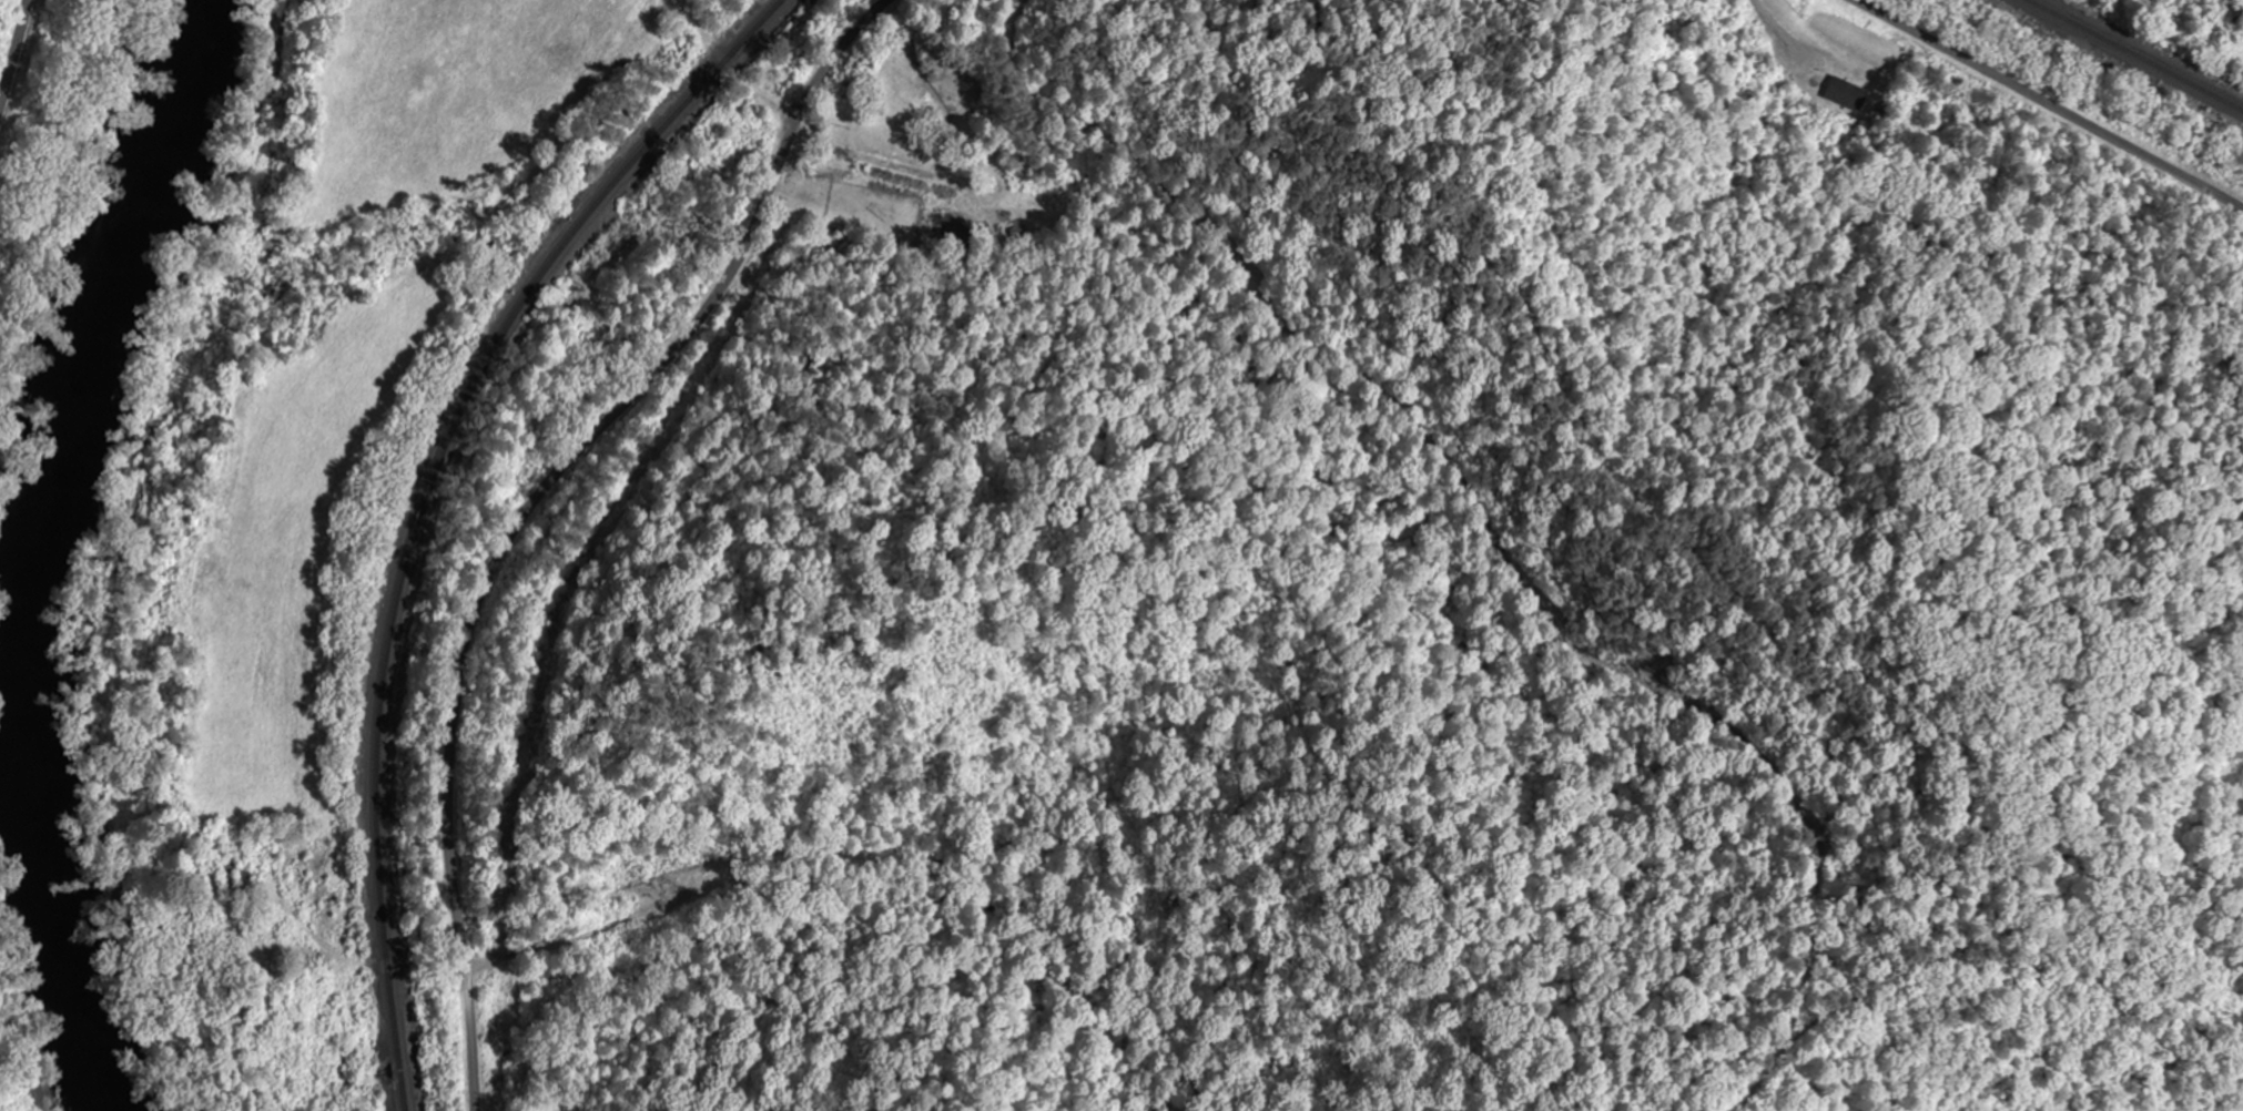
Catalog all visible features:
railway: (2133, 55)
road: (19, 65)
building: (1848, 94)
road: (2043, 109)
railway: (425, 498)
road: (538, 504)
river: (48, 549)
building: (236, 873)
building: (284, 1059)

